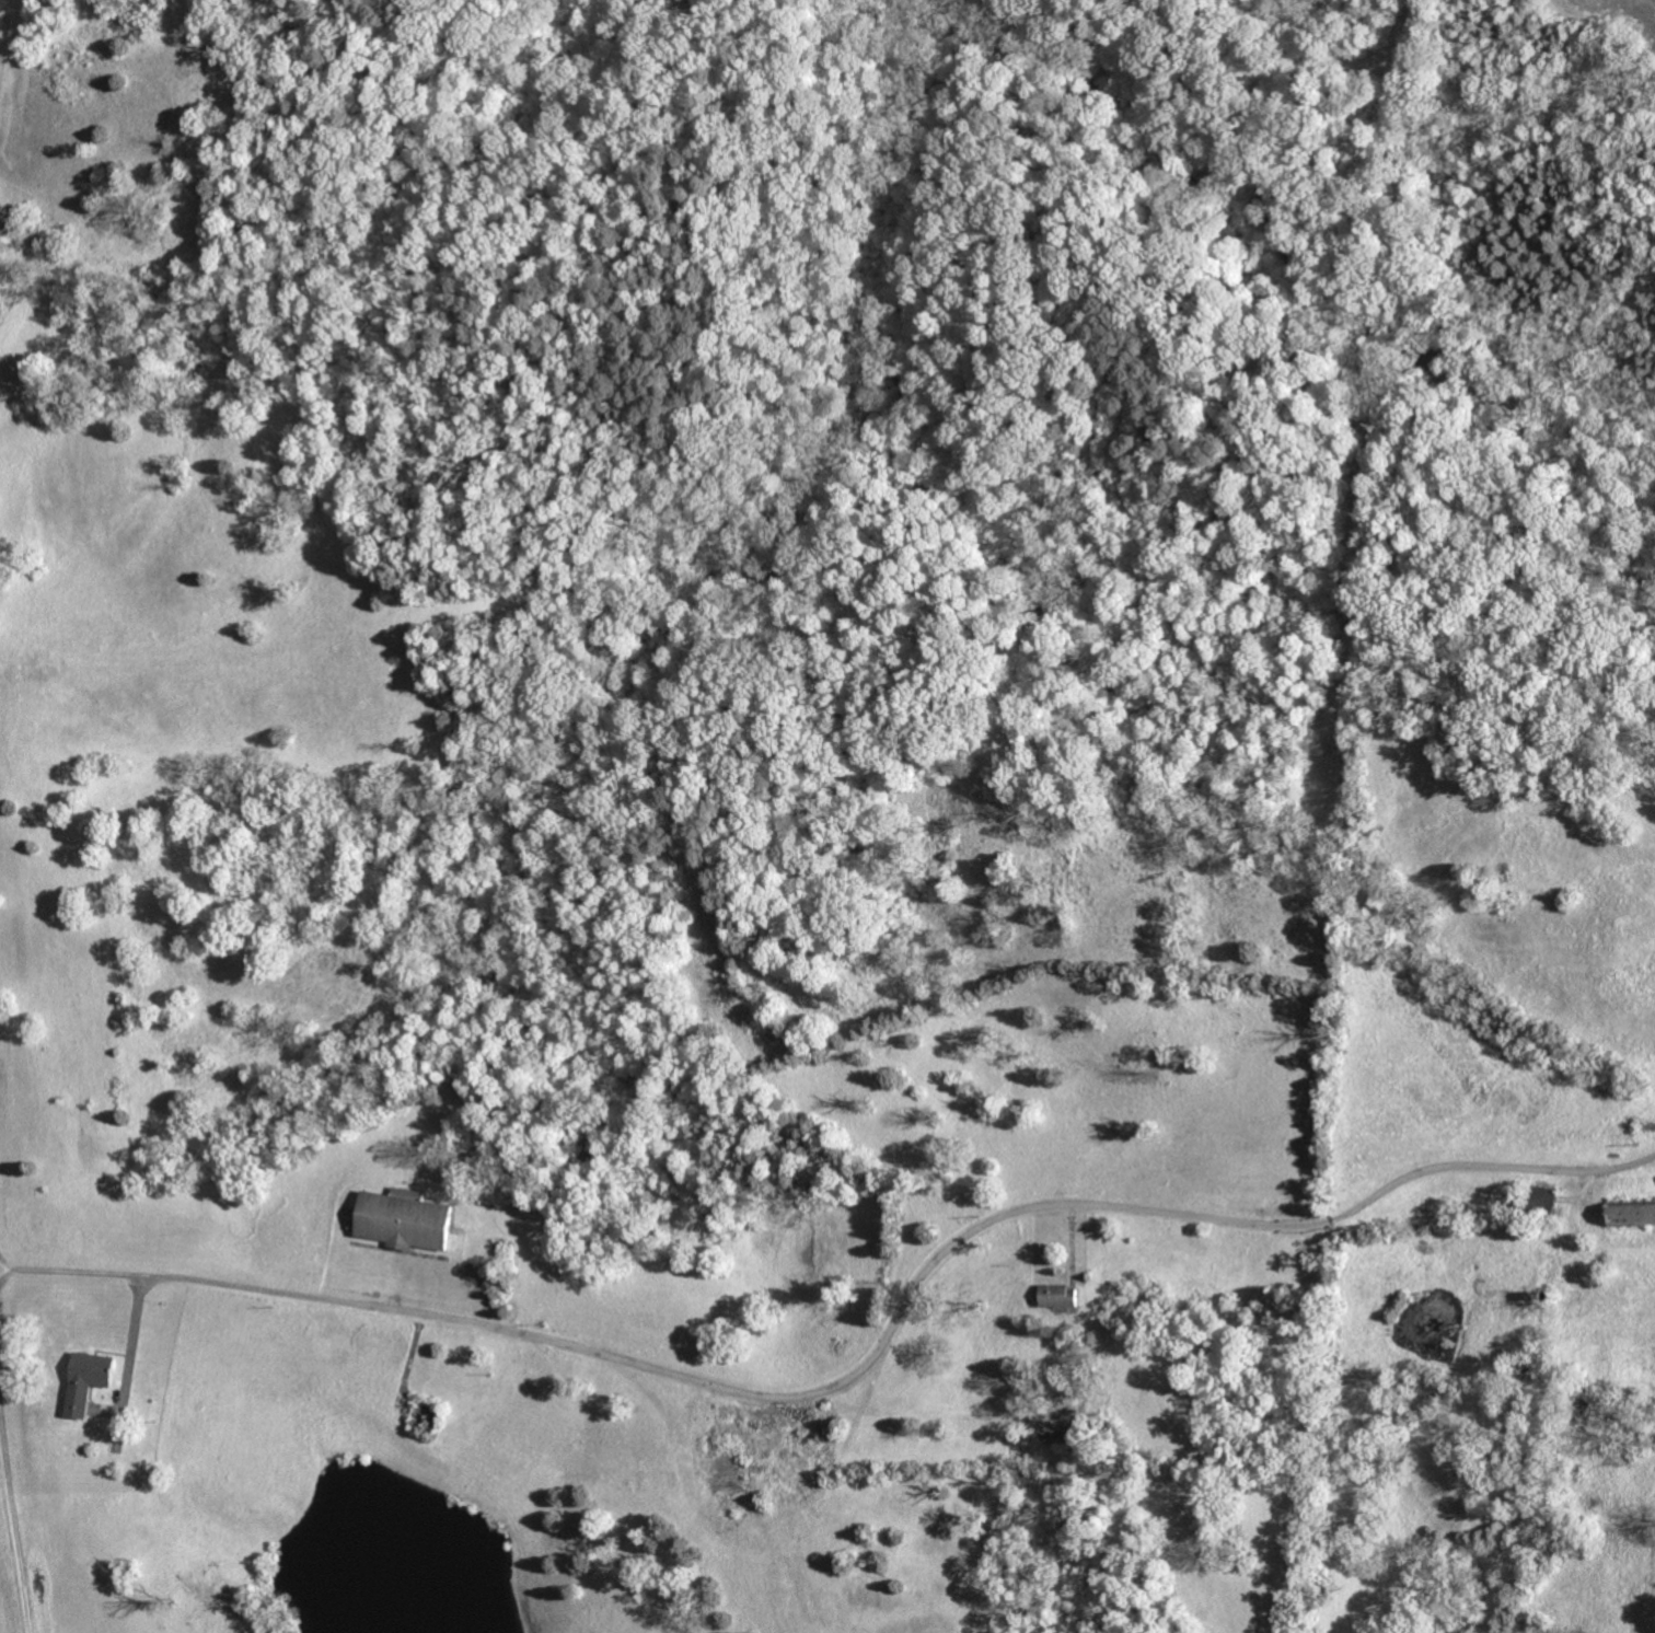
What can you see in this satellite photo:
building: (1539, 1203)
building: (1631, 1214)
building: (404, 1220)
building: (1592, 1243)
road: (907, 1295)
building: (1057, 1296)
building: (1547, 1296)
road: (130, 1323)
building: (1531, 1367)
building: (88, 1382)
building: (427, 1416)
building: (1060, 1432)

